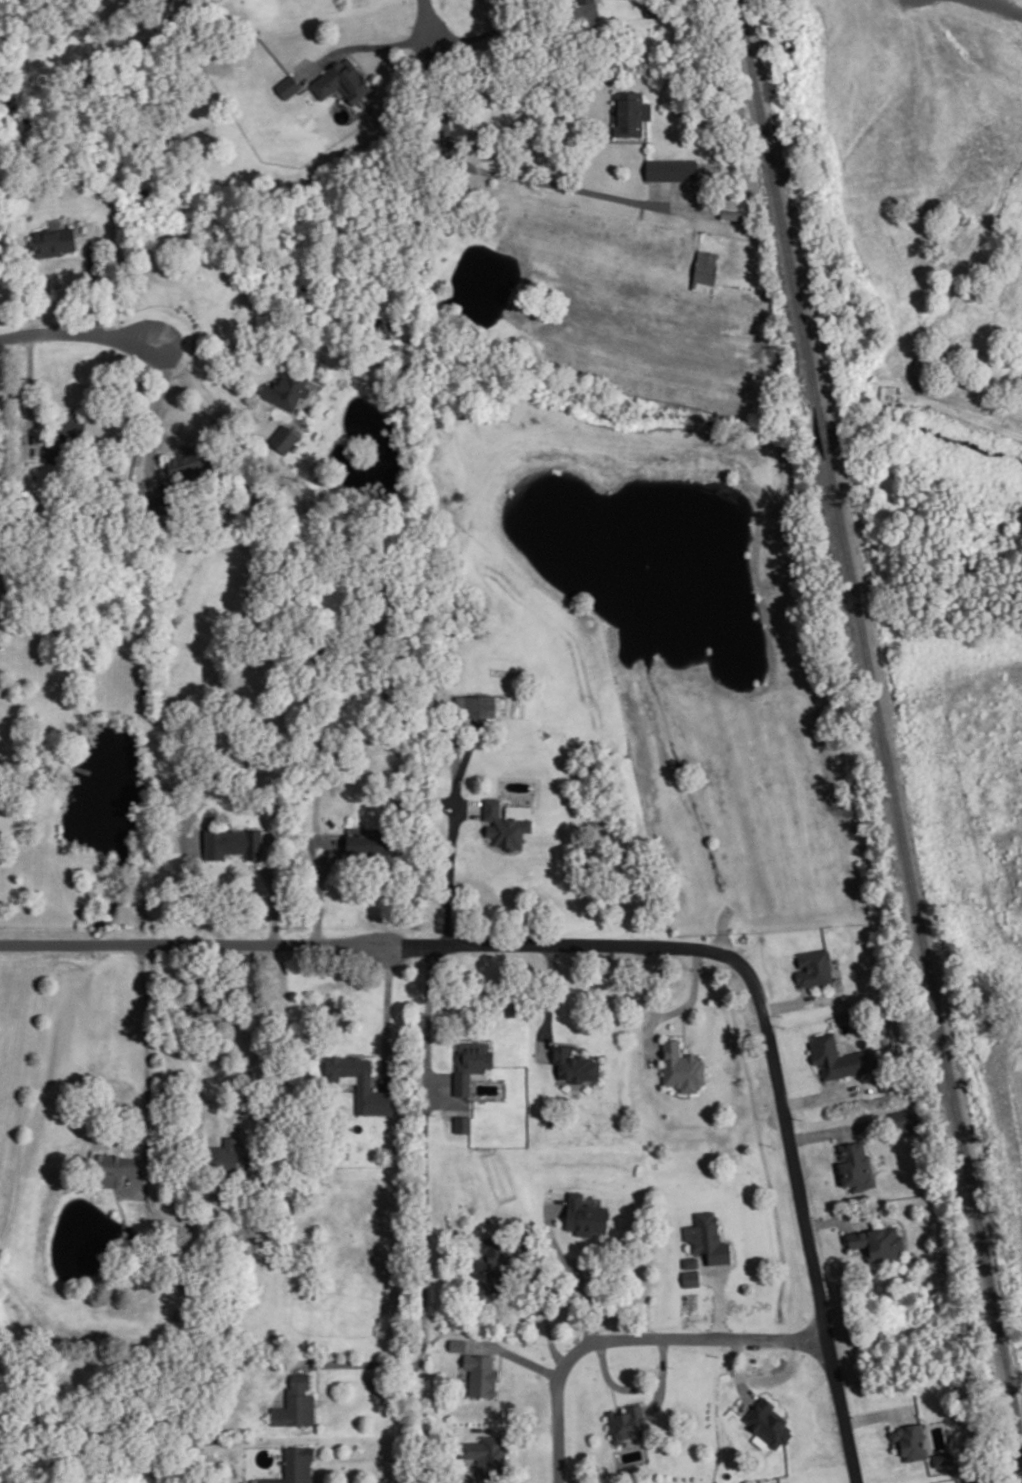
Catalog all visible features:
building: (584, 0)
building: (597, 1)
road: (1005, 6)
building: (652, 8)
road: (428, 18)
road: (502, 26)
road: (362, 45)
road: (355, 58)
building: (342, 79)
building: (288, 85)
building: (631, 112)
building: (673, 167)
road: (517, 175)
railway: (776, 202)
building: (735, 213)
building: (55, 239)
building: (705, 270)
road: (92, 279)
road: (77, 333)
road: (220, 376)
building: (288, 387)
road: (30, 394)
road: (967, 412)
road: (155, 414)
building: (73, 428)
railway: (821, 432)
building: (285, 437)
building: (189, 455)
building: (162, 503)
building: (393, 629)
building: (482, 705)
pier: (82, 768)
road: (468, 806)
building: (507, 821)
road: (453, 833)
building: (367, 838)
building: (233, 841)
road: (329, 860)
road: (272, 896)
road: (722, 929)
road: (370, 943)
railway: (925, 947)
building: (815, 966)
road: (644, 981)
road: (801, 1000)
road: (279, 1001)
road: (549, 1001)
road: (673, 1011)
road: (387, 1013)
road: (684, 1030)
road: (666, 1033)
road: (565, 1041)
flagpole: (371, 1051)
road: (366, 1053)
building: (475, 1055)
building: (839, 1056)
building: (574, 1063)
building: (682, 1066)
road: (148, 1068)
building: (359, 1081)
building: (462, 1082)
road: (661, 1086)
road: (827, 1092)
building: (904, 1117)
building: (463, 1123)
road: (838, 1129)
building: (225, 1149)
building: (856, 1165)
building: (113, 1168)
road: (124, 1194)
road: (123, 1207)
road: (424, 1214)
building: (585, 1214)
road: (838, 1218)
road: (806, 1219)
pier: (121, 1232)
building: (708, 1237)
building: (879, 1240)
road: (842, 1244)
road: (733, 1245)
building: (691, 1261)
building: (491, 1264)
road: (571, 1267)
building: (691, 1276)
road: (719, 1301)
road: (547, 1311)
road: (632, 1336)
building: (459, 1344)
road: (517, 1355)
road: (357, 1362)
road: (739, 1371)
building: (481, 1373)
road: (318, 1385)
road: (635, 1387)
road: (660, 1393)
building: (296, 1401)
road: (624, 1402)
road: (879, 1414)
building: (627, 1421)
building: (769, 1421)
building: (911, 1440)
building: (488, 1455)
building: (942, 1457)
building: (205, 1459)
building: (294, 1465)

